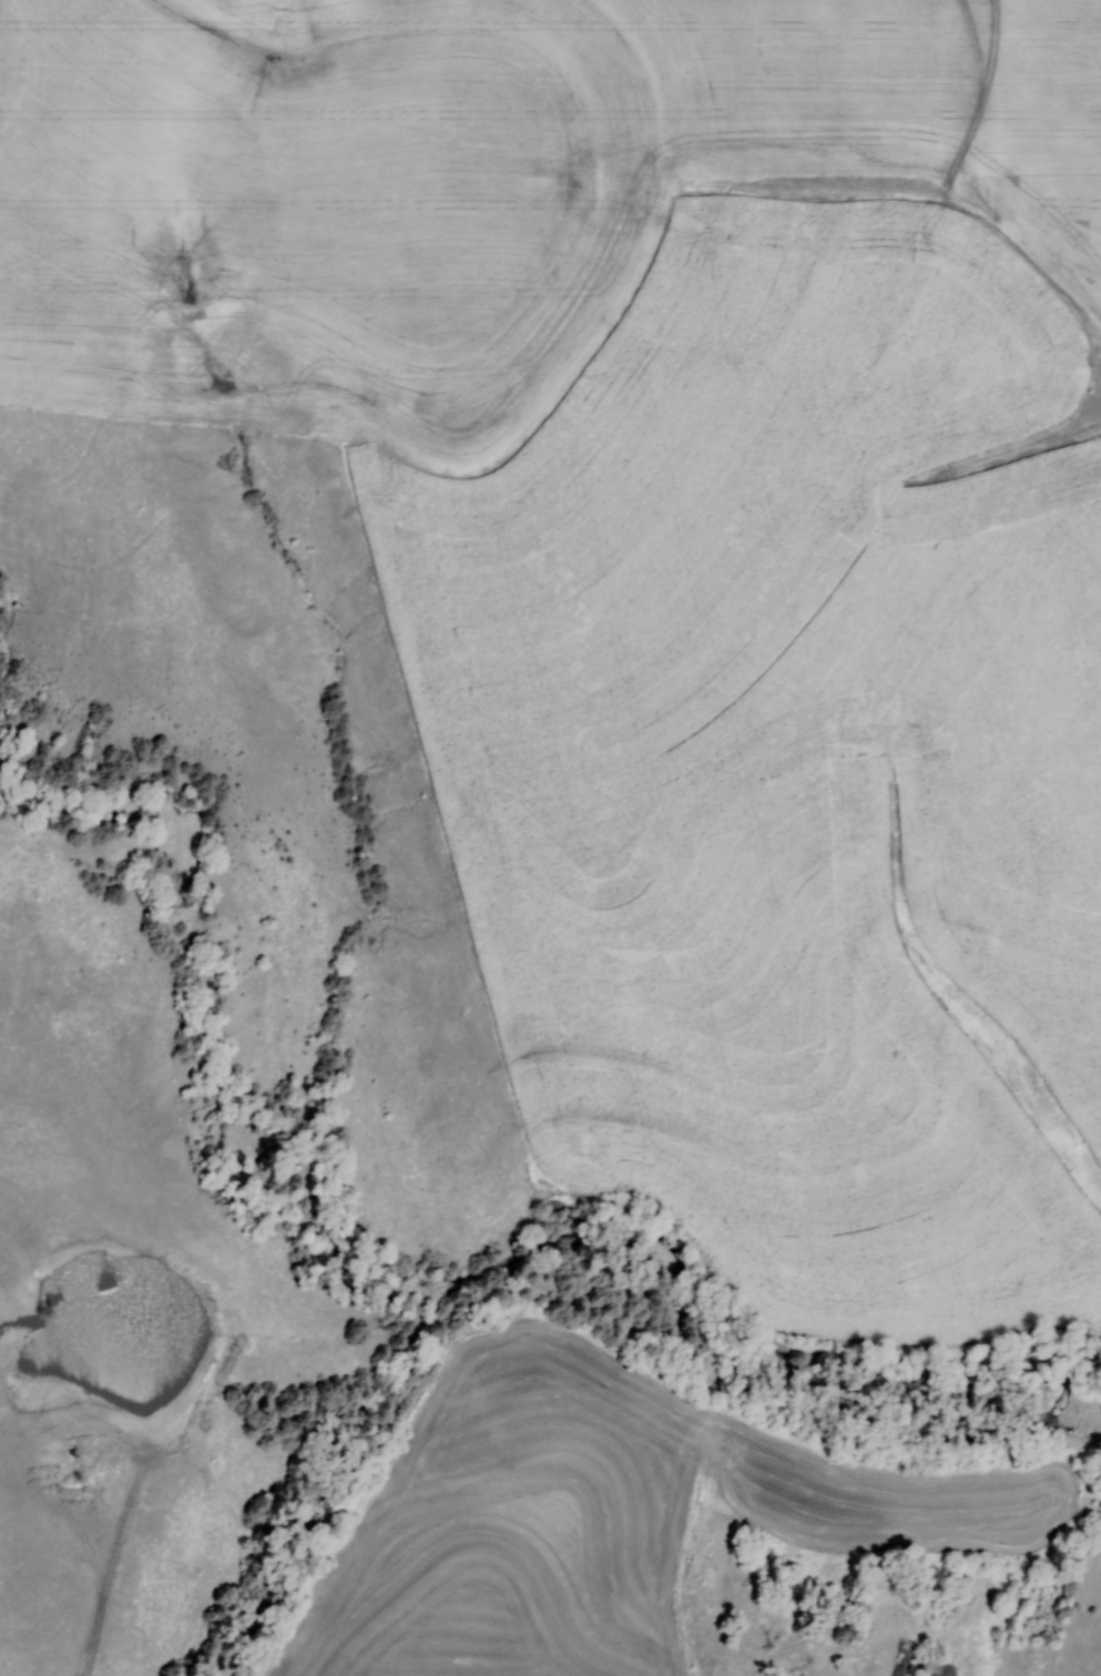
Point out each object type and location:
building: (925, 1668)

